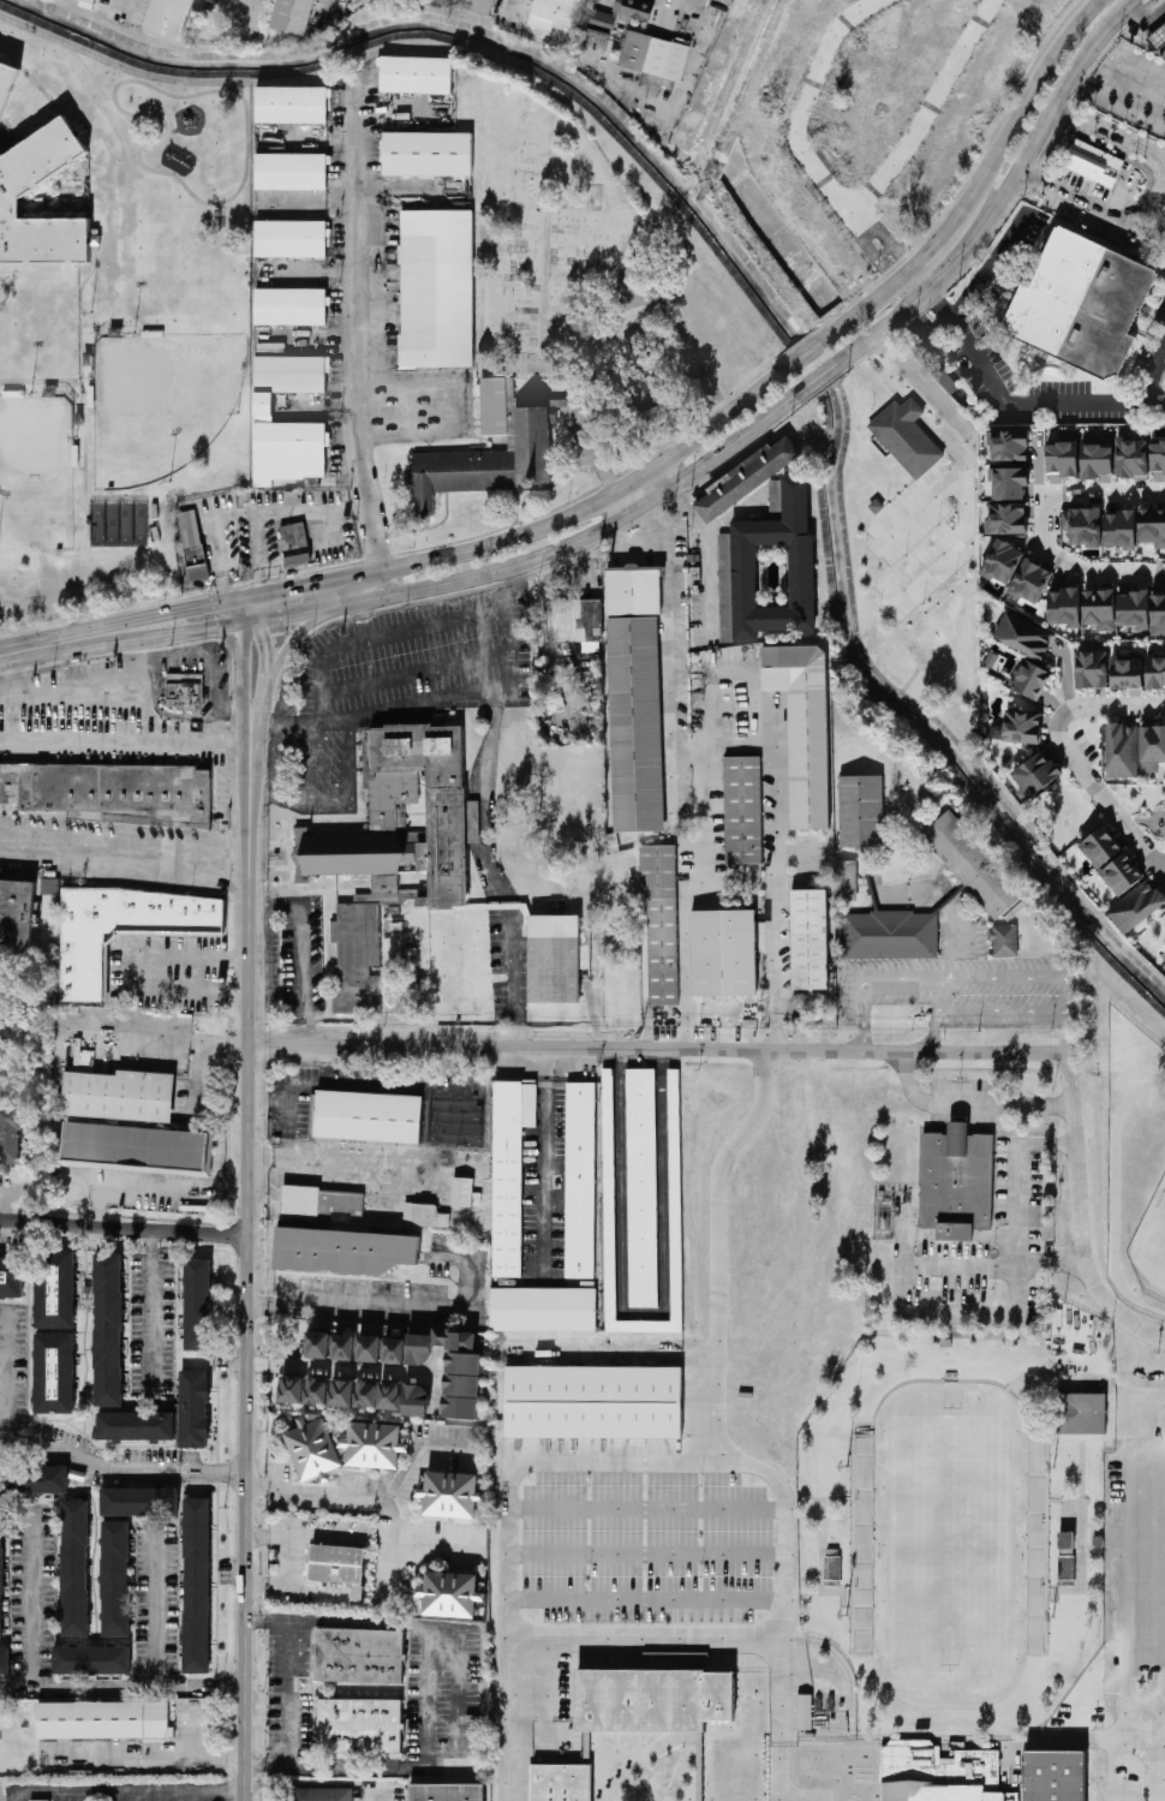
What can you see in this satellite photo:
building: (94, 0)
building: (479, 5)
building: (634, 8)
road: (124, 11)
building: (560, 14)
building: (294, 16)
building: (173, 18)
building: (603, 19)
road: (1112, 20)
building: (655, 55)
building: (7, 58)
building: (414, 73)
building: (6, 82)
road: (1026, 96)
building: (292, 105)
road: (356, 124)
building: (83, 132)
road: (1112, 132)
track: (153, 143)
building: (426, 153)
building: (1094, 161)
building: (292, 171)
building: (26, 175)
road: (370, 193)
road: (1095, 204)
road: (992, 214)
building: (291, 238)
building: (100, 241)
road: (937, 241)
road: (316, 270)
road: (914, 285)
road: (978, 287)
building: (436, 288)
building: (1082, 303)
road: (868, 304)
building: (291, 306)
street lamp: (90, 314)
road: (359, 329)
road: (316, 330)
street lamp: (135, 333)
building: (634, 346)
road: (805, 352)
road: (1153, 374)
road: (823, 376)
street lamp: (89, 380)
road: (894, 381)
road: (42, 387)
street lamp: (32, 393)
building: (646, 393)
road: (1008, 401)
road: (1155, 401)
park: (161, 402)
road: (321, 405)
road: (88, 406)
building: (261, 406)
road: (470, 408)
road: (913, 408)
road: (91, 412)
street lamp: (239, 415)
road: (937, 430)
building: (907, 436)
street lamp: (77, 440)
building: (1009, 445)
building: (491, 449)
building: (1131, 457)
building: (1063, 459)
building: (1097, 460)
building: (1158, 461)
road: (593, 463)
road: (961, 466)
road: (83, 470)
park: (36, 471)
building: (748, 477)
street lamp: (172, 482)
building: (1009, 483)
road: (921, 507)
road: (275, 511)
road: (576, 512)
building: (1006, 518)
building: (1082, 525)
building: (1152, 526)
building: (1121, 529)
road: (1044, 530)
building: (191, 538)
building: (295, 543)
road: (710, 554)
road: (225, 555)
building: (1002, 561)
road: (524, 569)
building: (769, 571)
road: (465, 577)
building: (1030, 582)
road: (289, 588)
traffic signals: (287, 589)
building: (632, 591)
road: (358, 607)
building: (1064, 607)
building: (1099, 609)
building: (1133, 609)
road: (163, 612)
building: (1158, 615)
building: (574, 622)
traffic signals: (216, 627)
building: (1024, 636)
traffic signals: (265, 643)
road: (265, 646)
road: (47, 648)
road: (286, 649)
road: (323, 654)
road: (168, 655)
road: (241, 667)
building: (1092, 669)
building: (1155, 670)
building: (1127, 673)
road: (674, 674)
road: (11, 678)
building: (1029, 679)
road: (214, 685)
building: (184, 691)
road: (6, 699)
building: (554, 703)
road: (413, 704)
road: (257, 718)
road: (273, 720)
road: (318, 720)
building: (637, 723)
building: (803, 726)
building: (1018, 727)
road: (6, 743)
road: (19, 743)
building: (1152, 747)
building: (1122, 750)
road: (251, 755)
road: (1070, 755)
building: (1036, 774)
road: (263, 781)
building: (110, 793)
road: (778, 797)
building: (742, 810)
building: (861, 810)
road: (125, 835)
building: (394, 846)
building: (1100, 847)
building: (973, 864)
road: (125, 869)
road: (491, 872)
building: (1122, 873)
building: (846, 879)
road: (261, 902)
building: (48, 905)
building: (1136, 906)
building: (16, 916)
building: (661, 920)
road: (686, 920)
building: (121, 930)
building: (890, 935)
building: (808, 940)
building: (1004, 940)
building: (724, 952)
road: (183, 953)
building: (556, 958)
road: (304, 961)
road: (199, 974)
road: (1032, 978)
road: (692, 1034)
road: (192, 1043)
road: (657, 1045)
road: (327, 1066)
road: (377, 1085)
building: (119, 1095)
road: (970, 1102)
building: (368, 1116)
building: (11, 1134)
building: (137, 1146)
road: (548, 1149)
road: (319, 1158)
building: (509, 1170)
building: (579, 1179)
building: (956, 1182)
building: (641, 1187)
road: (160, 1189)
building: (462, 1191)
building: (609, 1193)
building: (317, 1203)
road: (1015, 1209)
building: (419, 1213)
road: (1082, 1215)
road: (123, 1229)
park: (1154, 1238)
building: (339, 1252)
road: (247, 1287)
building: (55, 1292)
parking lot: (399, 1292)
building: (197, 1304)
road: (906, 1305)
road: (398, 1308)
building: (543, 1308)
road: (150, 1311)
road: (646, 1316)
building: (108, 1330)
building: (318, 1344)
building: (343, 1347)
building: (369, 1348)
building: (394, 1350)
building: (453, 1367)
road: (342, 1370)
building: (54, 1373)
road: (7, 1378)
road: (437, 1378)
building: (292, 1389)
building: (317, 1391)
building: (354, 1394)
building: (405, 1399)
building: (596, 1400)
building: (195, 1408)
building: (1080, 1413)
building: (136, 1426)
road: (722, 1438)
building: (374, 1445)
building: (313, 1448)
road: (120, 1467)
building: (34, 1480)
road: (400, 1493)
building: (450, 1495)
road: (319, 1497)
building: (139, 1501)
road: (647, 1508)
road: (508, 1527)
stadium: (964, 1528)
building: (865, 1538)
building: (1036, 1540)
road: (435, 1541)
park: (949, 1543)
building: (1067, 1543)
road: (289, 1545)
road: (645, 1551)
building: (336, 1563)
building: (74, 1568)
building: (831, 1568)
building: (1067, 1569)
road: (1127, 1572)
building: (1, 1573)
building: (115, 1579)
building: (197, 1585)
building: (357, 1594)
building: (449, 1594)
road: (297, 1597)
road: (646, 1598)
road: (31, 1599)
road: (155, 1608)
road: (267, 1621)
road: (647, 1634)
building: (360, 1656)
building: (91, 1659)
building: (5, 1660)
road: (121, 1686)
road: (287, 1693)
road: (456, 1695)
building: (655, 1698)
road: (1163, 1699)
building: (805, 1711)
road: (1085, 1711)
building: (103, 1719)
building: (359, 1723)
road: (193, 1736)
road: (1116, 1741)
road: (1159, 1752)
road: (150, 1760)
road: (267, 1765)
building: (939, 1773)
building: (1058, 1775)
building: (560, 1782)
road: (121, 1791)
building: (447, 1793)
building: (322, 1794)
road: (131, 1796)
road: (178, 1796)
road: (383, 1796)
road: (17, 1797)
road: (802, 1797)
building: (40, 1800)

